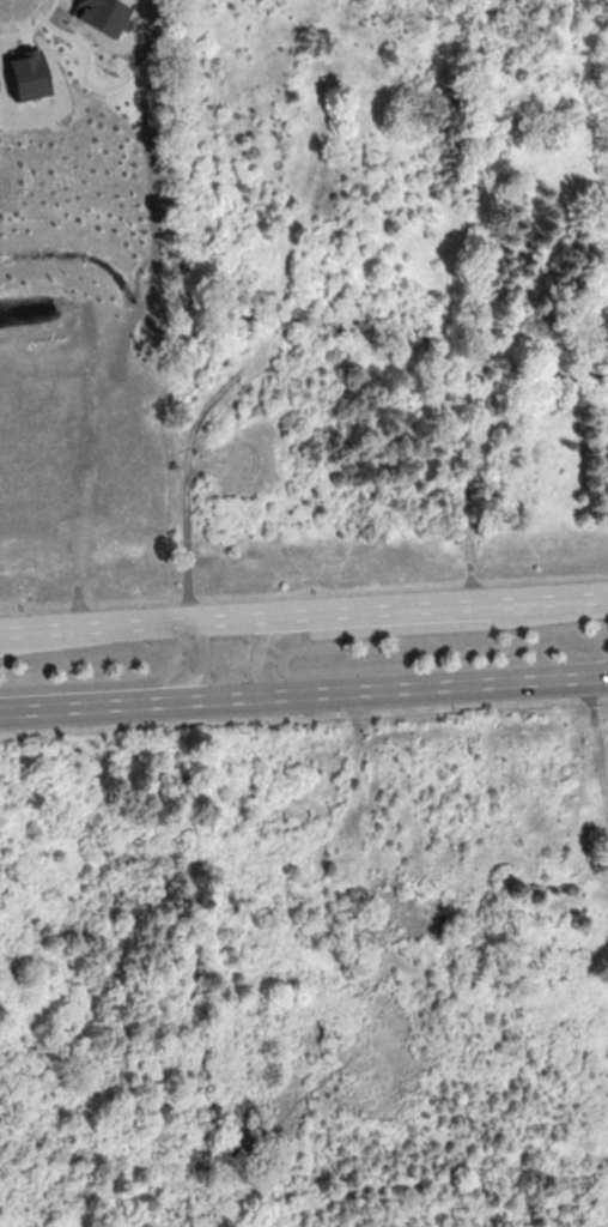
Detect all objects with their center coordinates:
road: (7, 2)
building: (101, 14)
road: (328, 19)
road: (345, 19)
building: (26, 75)
road: (150, 140)
road: (524, 297)
road: (266, 336)
road: (87, 504)
road: (564, 594)
road: (408, 604)
road: (241, 613)
road: (129, 619)
road: (38, 624)
road: (411, 628)
road: (59, 639)
road: (126, 682)
road: (452, 687)
road: (148, 705)
road: (598, 725)
road: (354, 824)

